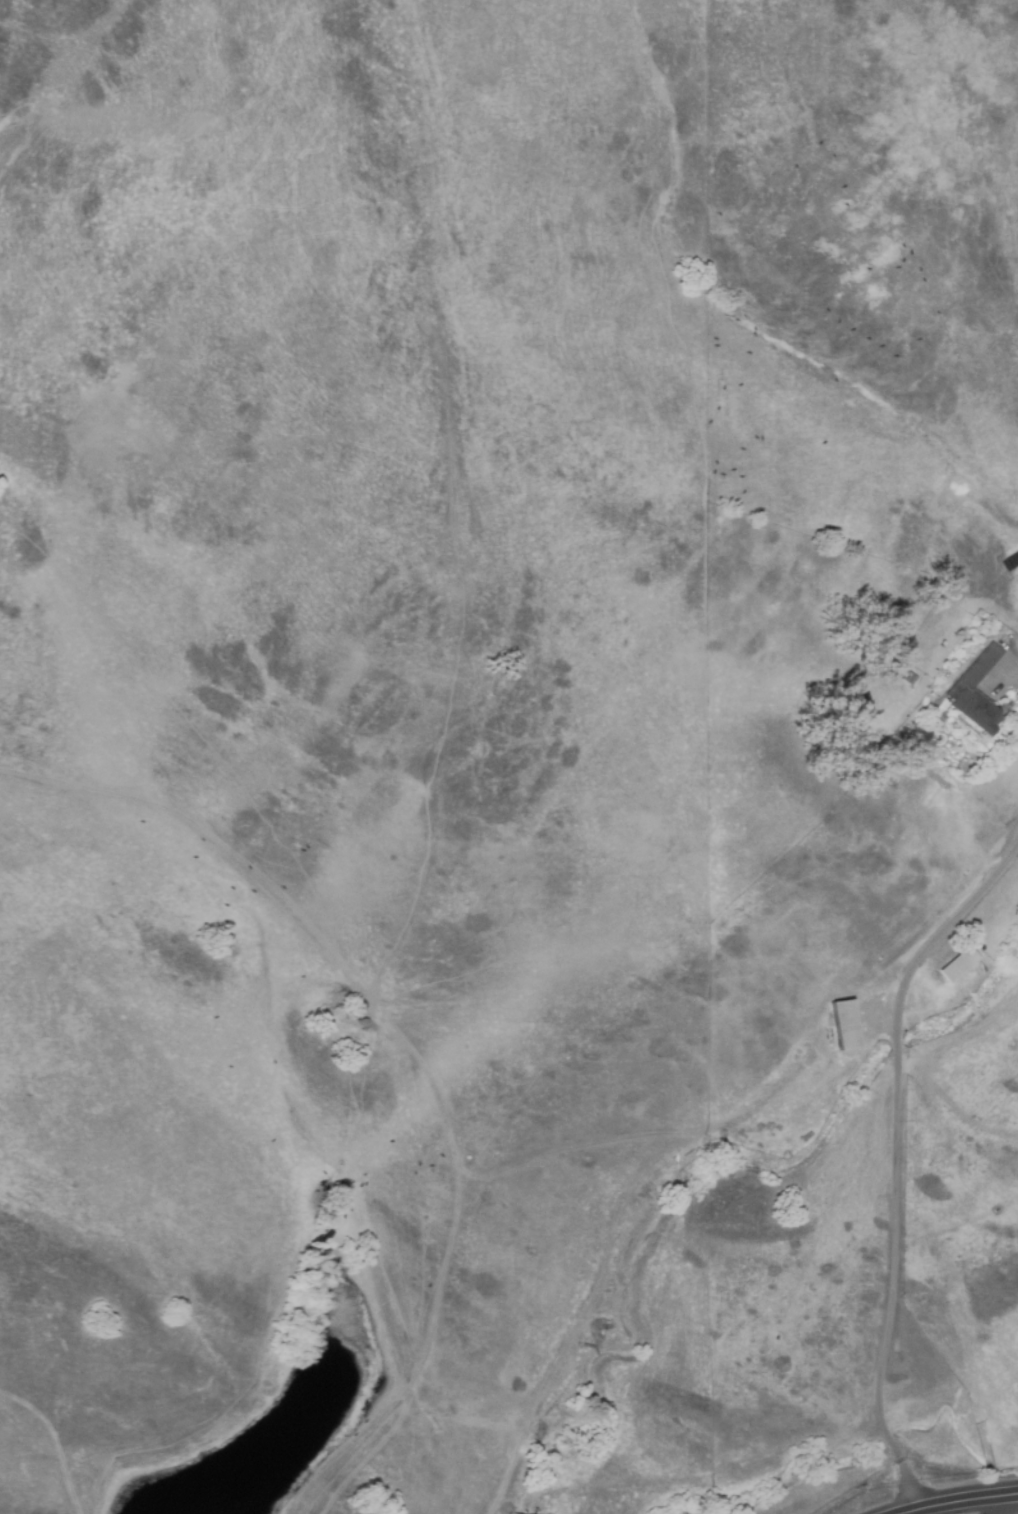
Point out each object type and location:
building: (1004, 645)
building: (909, 679)
building: (976, 693)
building: (965, 971)
building: (843, 1025)
road: (896, 1158)
road: (958, 1501)

